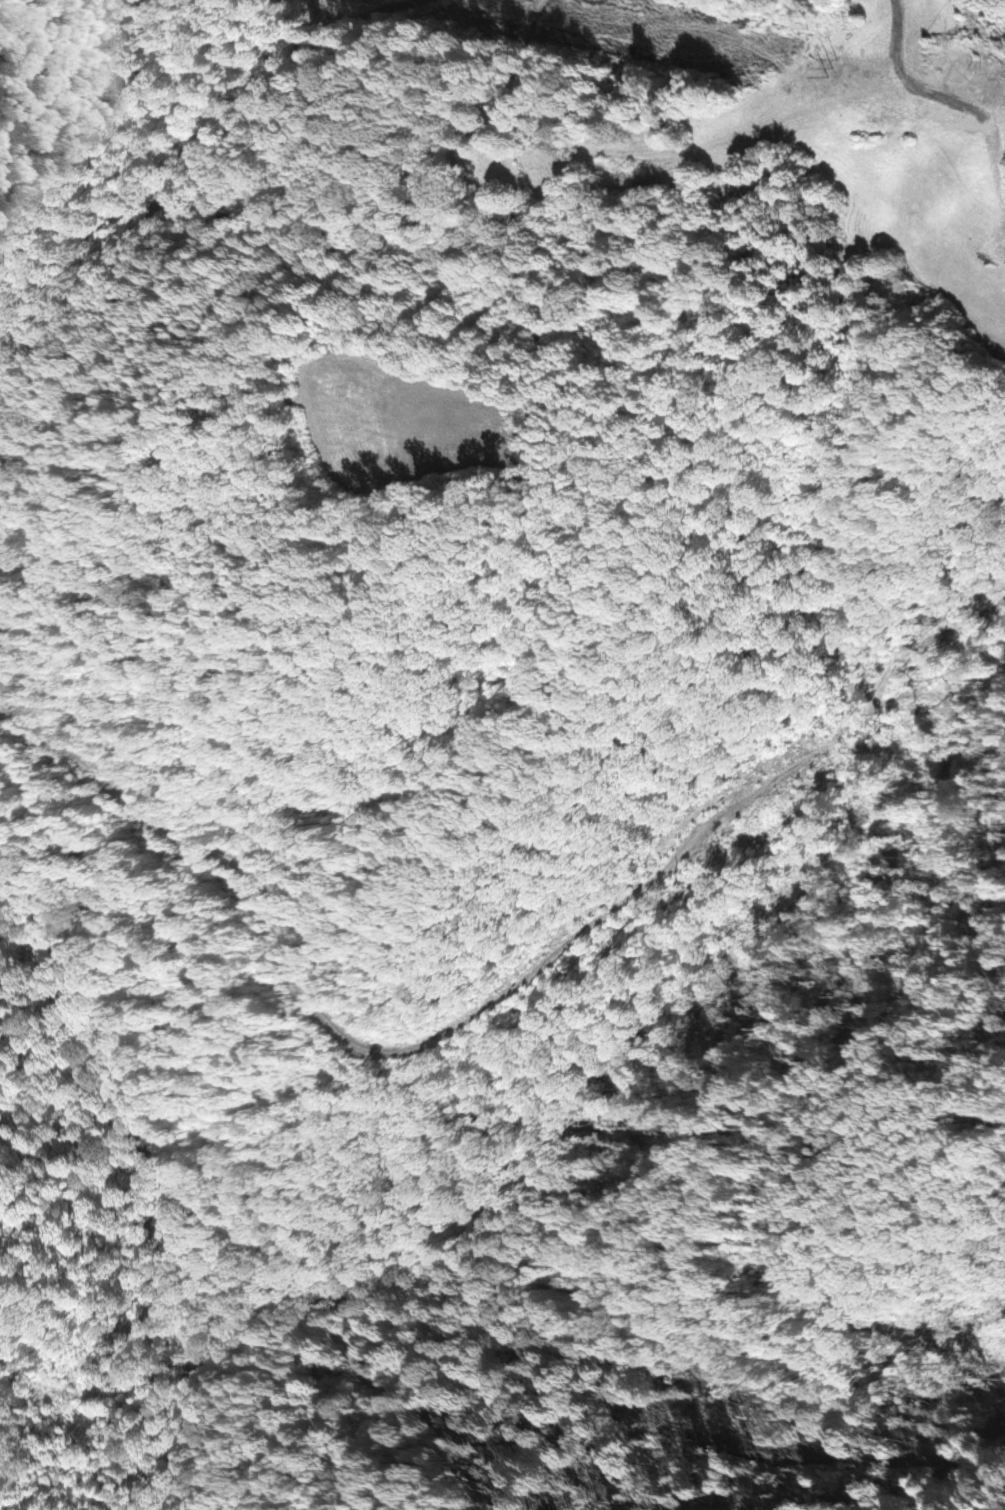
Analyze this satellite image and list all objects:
road: (318, 1015)
building: (764, 1506)

